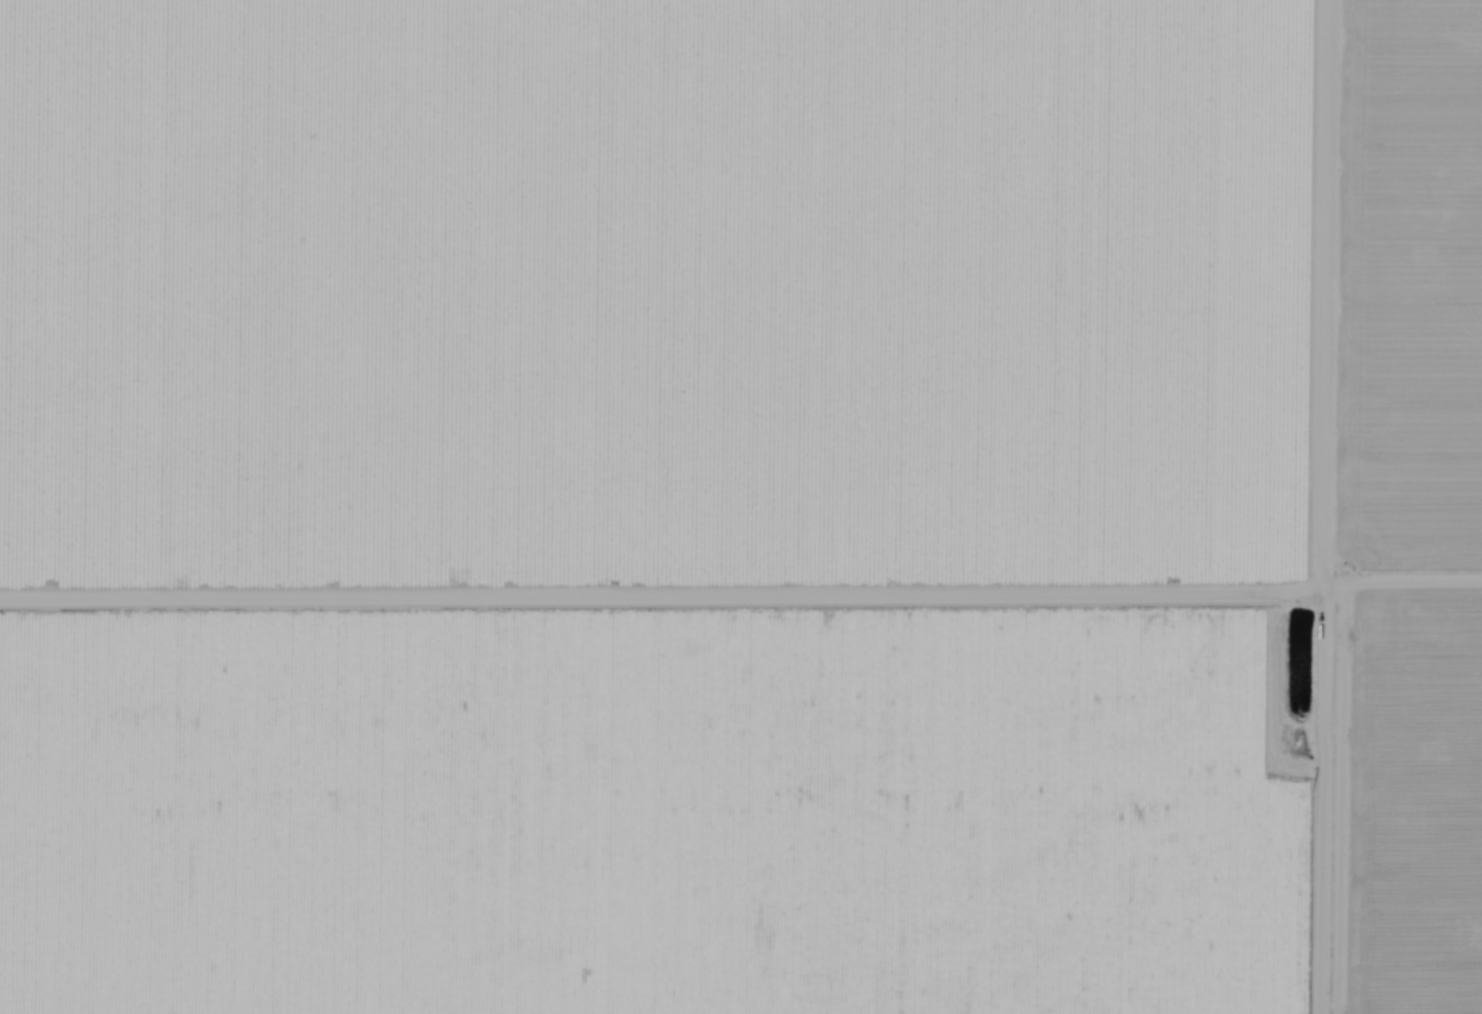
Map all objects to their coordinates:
crop: (669, 506)
road: (1330, 507)
crop: (1409, 507)

